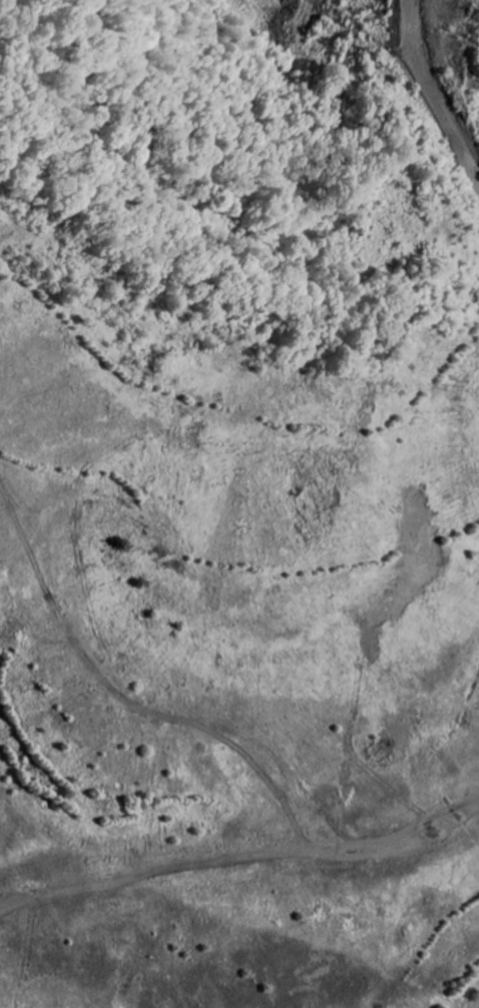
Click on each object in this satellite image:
quarry: (245, 188)

